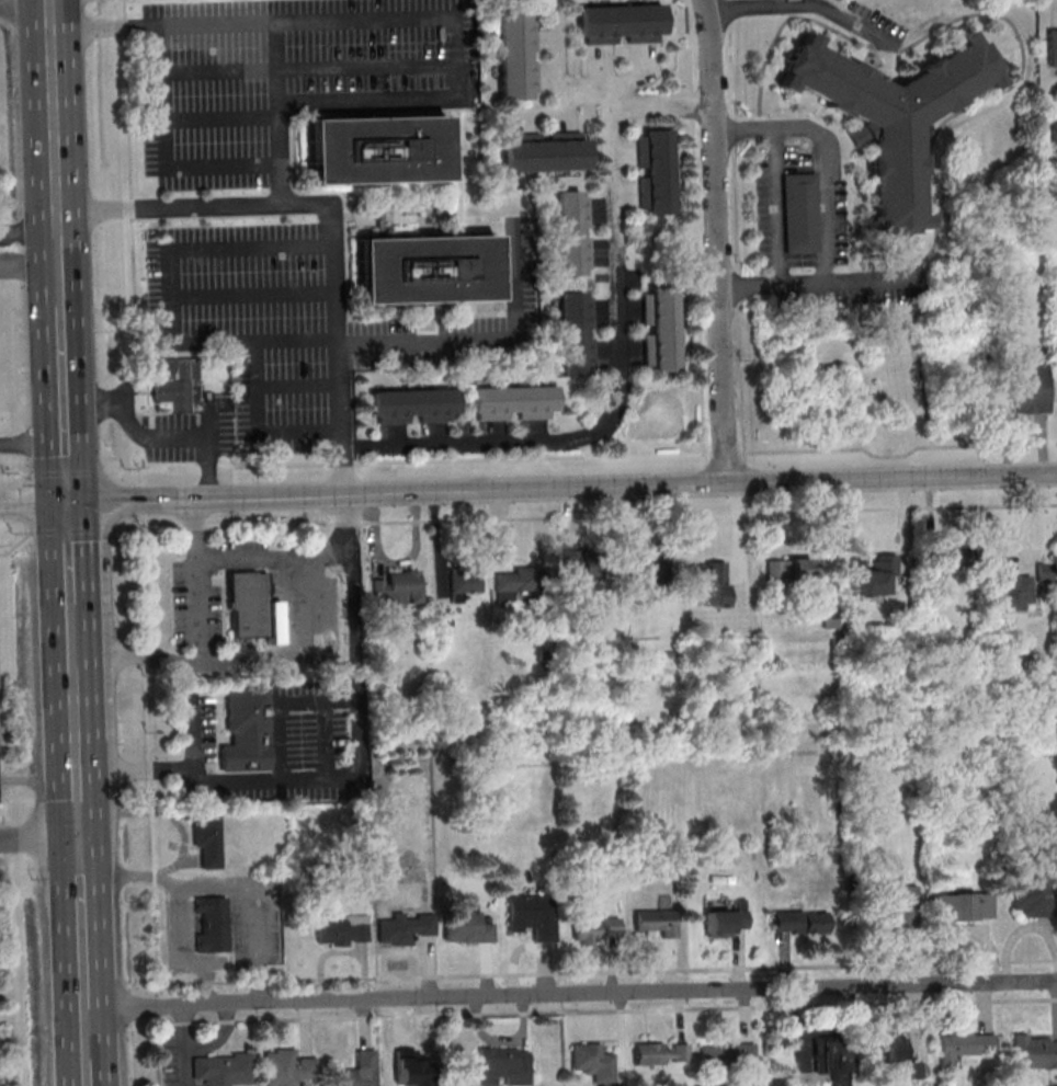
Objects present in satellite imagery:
road: (1, 0)
road: (803, 5)
road: (377, 21)
building: (620, 24)
building: (1052, 46)
building: (516, 56)
road: (307, 70)
road: (126, 78)
road: (605, 92)
road: (275, 93)
building: (891, 115)
road: (219, 117)
road: (53, 122)
building: (1054, 144)
building: (376, 150)
building: (544, 151)
road: (830, 153)
road: (173, 167)
building: (653, 172)
parking lot: (266, 194)
road: (1053, 199)
road: (778, 209)
road: (331, 213)
building: (802, 214)
road: (1053, 220)
building: (572, 232)
road: (27, 235)
road: (1054, 240)
road: (718, 242)
road: (133, 248)
road: (29, 264)
building: (424, 270)
road: (58, 274)
road: (818, 287)
building: (1056, 289)
road: (252, 295)
building: (660, 329)
building: (576, 333)
road: (294, 340)
road: (171, 341)
road: (481, 342)
road: (295, 385)
road: (618, 385)
building: (174, 389)
building: (1024, 389)
building: (512, 402)
road: (64, 404)
building: (412, 405)
road: (1027, 425)
road: (161, 436)
road: (32, 439)
road: (1056, 443)
road: (528, 491)
traffic signals: (68, 503)
road: (587, 516)
road: (73, 530)
road: (15, 545)
road: (69, 552)
building: (953, 558)
road: (275, 559)
building: (584, 567)
building: (788, 569)
building: (1045, 573)
building: (874, 575)
building: (648, 579)
building: (513, 582)
building: (463, 583)
building: (706, 584)
building: (398, 588)
building: (1015, 593)
building: (247, 604)
road: (72, 630)
road: (197, 640)
road: (282, 656)
building: (246, 731)
road: (201, 743)
road: (77, 747)
road: (352, 771)
road: (38, 780)
traffic signals: (80, 838)
road: (39, 839)
building: (207, 839)
building: (1033, 896)
road: (8, 900)
building: (901, 906)
building: (963, 906)
building: (532, 916)
road: (82, 922)
building: (800, 922)
building: (656, 923)
building: (726, 923)
building: (212, 924)
building: (404, 927)
building: (467, 927)
building: (343, 929)
building: (594, 930)
road: (571, 995)
road: (186, 1028)
road: (217, 1034)
road: (87, 1039)
building: (965, 1044)
building: (897, 1048)
building: (1034, 1051)
building: (661, 1053)
building: (831, 1060)
building: (732, 1061)
building: (593, 1062)
building: (503, 1066)
building: (224, 1068)
building: (288, 1068)
road: (186, 1070)
building: (359, 1071)
road: (89, 1078)

